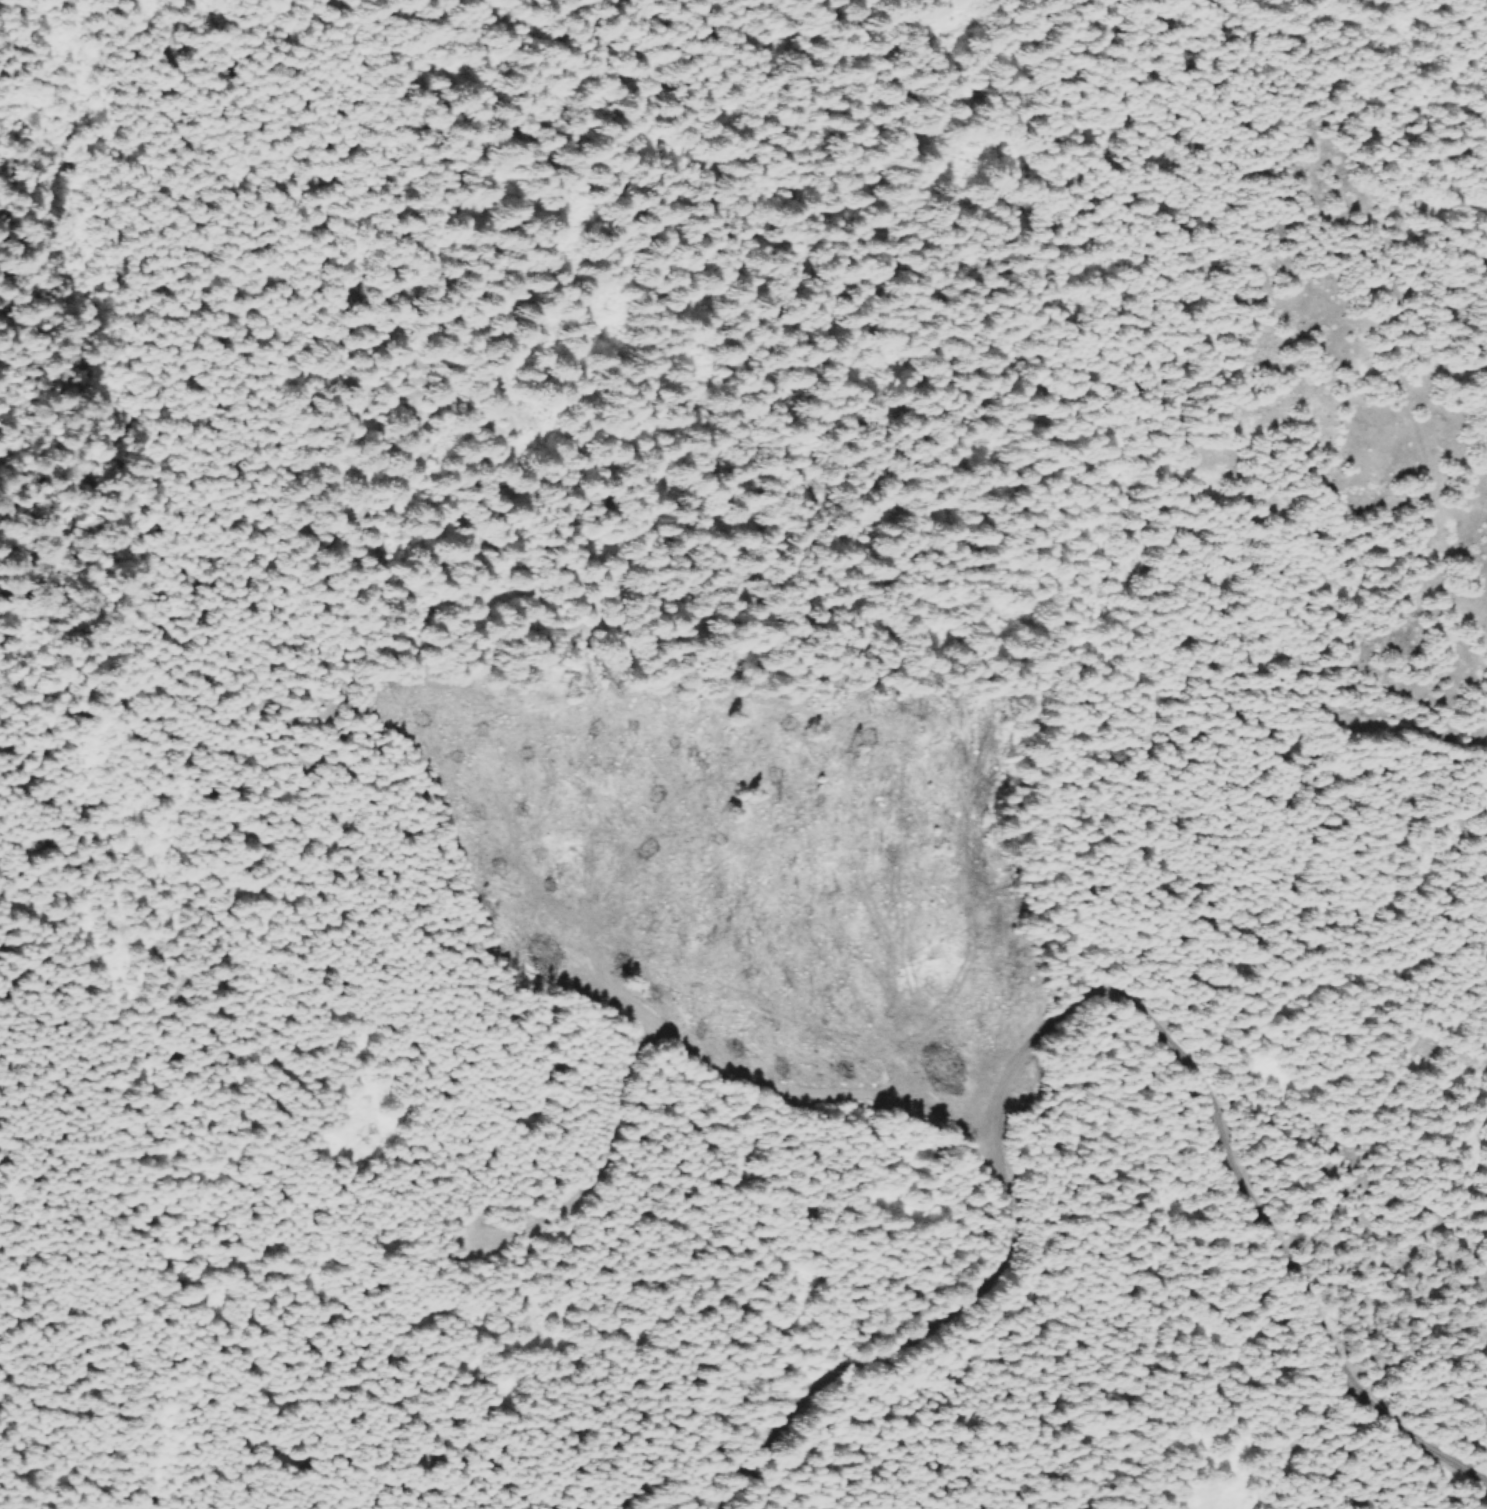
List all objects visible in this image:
road: (1071, 1005)
road: (683, 1041)

